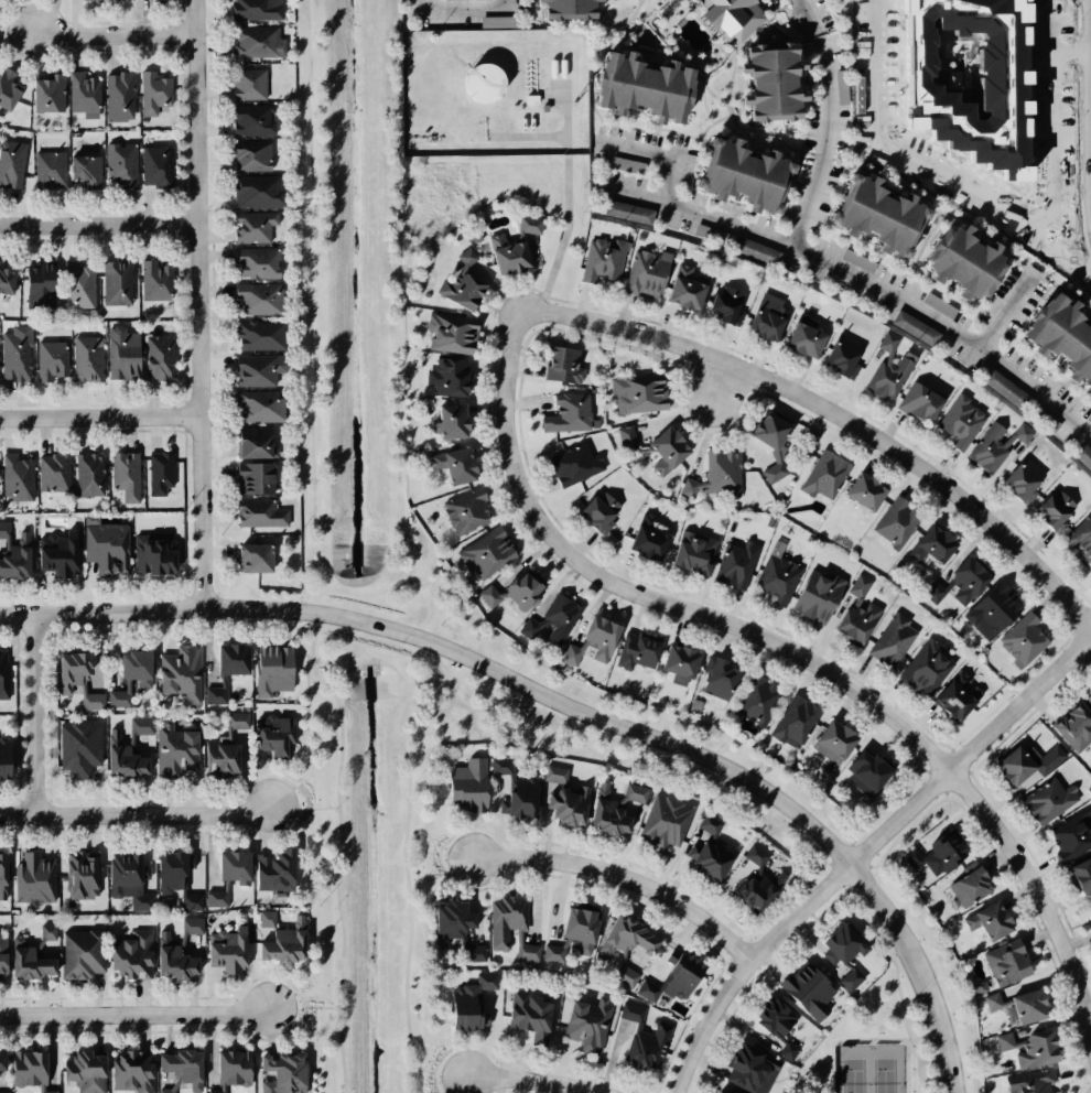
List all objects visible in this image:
building: (89, 0)
building: (456, 0)
building: (557, 3)
road: (464, 8)
building: (252, 10)
building: (716, 12)
road: (808, 17)
building: (497, 21)
road: (111, 36)
building: (256, 42)
road: (1071, 52)
building: (760, 78)
building: (247, 84)
building: (636, 85)
building: (485, 87)
water tower: (485, 87)
building: (8, 89)
building: (83, 91)
building: (45, 94)
building: (149, 95)
building: (119, 96)
building: (251, 120)
road: (823, 142)
building: (251, 156)
road: (663, 159)
building: (11, 163)
building: (625, 164)
building: (120, 165)
building: (158, 166)
building: (47, 170)
building: (84, 170)
building: (733, 171)
building: (255, 190)
road: (991, 203)
road: (564, 205)
building: (628, 212)
building: (872, 215)
road: (98, 225)
building: (530, 225)
building: (256, 227)
building: (712, 234)
building: (756, 250)
building: (465, 255)
building: (507, 258)
building: (599, 260)
building: (255, 261)
building: (958, 264)
building: (4, 273)
building: (645, 273)
road: (863, 281)
building: (155, 283)
building: (116, 284)
building: (34, 285)
building: (77, 285)
building: (460, 285)
building: (684, 286)
building: (257, 299)
building: (722, 303)
road: (197, 304)
building: (940, 305)
building: (763, 315)
road: (1001, 317)
building: (915, 327)
building: (446, 331)
building: (260, 335)
building: (801, 336)
building: (1057, 337)
building: (156, 351)
building: (121, 353)
building: (12, 354)
building: (839, 354)
building: (84, 356)
building: (46, 359)
building: (564, 364)
building: (884, 369)
building: (260, 370)
building: (449, 377)
road: (716, 383)
building: (1004, 387)
building: (640, 392)
building: (916, 403)
building: (261, 407)
building: (565, 412)
road: (98, 413)
road: (834, 415)
building: (954, 419)
building: (450, 420)
building: (765, 428)
building: (255, 442)
building: (649, 444)
building: (995, 446)
building: (1082, 456)
building: (452, 464)
building: (571, 464)
building: (86, 475)
building: (158, 475)
building: (822, 475)
building: (51, 476)
building: (15, 478)
building: (252, 478)
building: (714, 478)
building: (1018, 478)
building: (120, 479)
building: (861, 494)
building: (464, 510)
building: (593, 511)
building: (1046, 512)
building: (262, 515)
building: (895, 521)
building: (2, 528)
building: (645, 537)
building: (930, 546)
building: (108, 548)
building: (489, 552)
building: (689, 553)
building: (155, 554)
building: (63, 555)
building: (251, 558)
building: (19, 559)
building: (734, 565)
building: (1090, 570)
building: (959, 576)
building: (775, 578)
building: (860, 586)
building: (514, 592)
building: (936, 592)
building: (812, 597)
building: (987, 607)
building: (554, 618)
building: (857, 621)
building: (595, 638)
building: (892, 642)
building: (1027, 645)
road: (790, 647)
building: (636, 654)
building: (676, 664)
building: (181, 670)
building: (226, 670)
building: (272, 670)
building: (925, 673)
building: (2, 674)
building: (129, 674)
building: (78, 679)
building: (715, 679)
building: (1088, 694)
road: (454, 696)
building: (755, 701)
building: (957, 701)
road: (569, 704)
road: (30, 713)
building: (238, 719)
building: (796, 722)
building: (1073, 725)
building: (276, 734)
building: (830, 745)
building: (77, 746)
building: (127, 748)
building: (176, 749)
building: (1044, 750)
building: (2, 758)
building: (220, 758)
building: (1009, 767)
building: (863, 771)
building: (557, 773)
building: (467, 783)
building: (515, 789)
building: (637, 793)
road: (884, 800)
building: (1046, 801)
building: (565, 803)
road: (303, 809)
road: (133, 813)
building: (612, 816)
building: (662, 823)
building: (710, 823)
park: (423, 837)
building: (1069, 837)
building: (941, 846)
road: (436, 852)
road: (863, 852)
road: (338, 856)
building: (914, 857)
building: (704, 858)
building: (273, 869)
building: (2, 873)
building: (229, 874)
building: (84, 875)
building: (180, 876)
road: (404, 876)
building: (35, 877)
building: (1080, 878)
building: (131, 879)
road: (619, 880)
building: (968, 886)
building: (750, 889)
building: (1088, 911)
building: (267, 919)
building: (449, 921)
building: (987, 922)
building: (511, 926)
building: (575, 926)
building: (628, 941)
building: (285, 942)
building: (838, 942)
building: (226, 950)
building: (475, 950)
building: (177, 952)
building: (82, 953)
building: (130, 953)
building: (553, 953)
building: (1, 955)
building: (30, 955)
building: (1003, 963)
road: (896, 975)
building: (677, 976)
building: (852, 978)
road: (753, 980)
building: (806, 984)
building: (1024, 999)
building: (469, 1002)
building: (993, 1002)
road: (303, 1006)
road: (133, 1011)
building: (529, 1015)
building: (767, 1015)
building: (584, 1025)
park: (871, 1026)
building: (1005, 1041)
building: (1031, 1045)
building: (650, 1049)
building: (789, 1051)
building: (1, 1062)
building: (747, 1067)
building: (228, 1068)
building: (26, 1069)
building: (180, 1069)
building: (132, 1070)
building: (82, 1071)
road: (436, 1072)
building: (282, 1074)
park: (883, 1075)
park: (851, 1078)
road: (529, 1081)
building: (1031, 1082)
building: (716, 1091)
building: (4, 1092)

